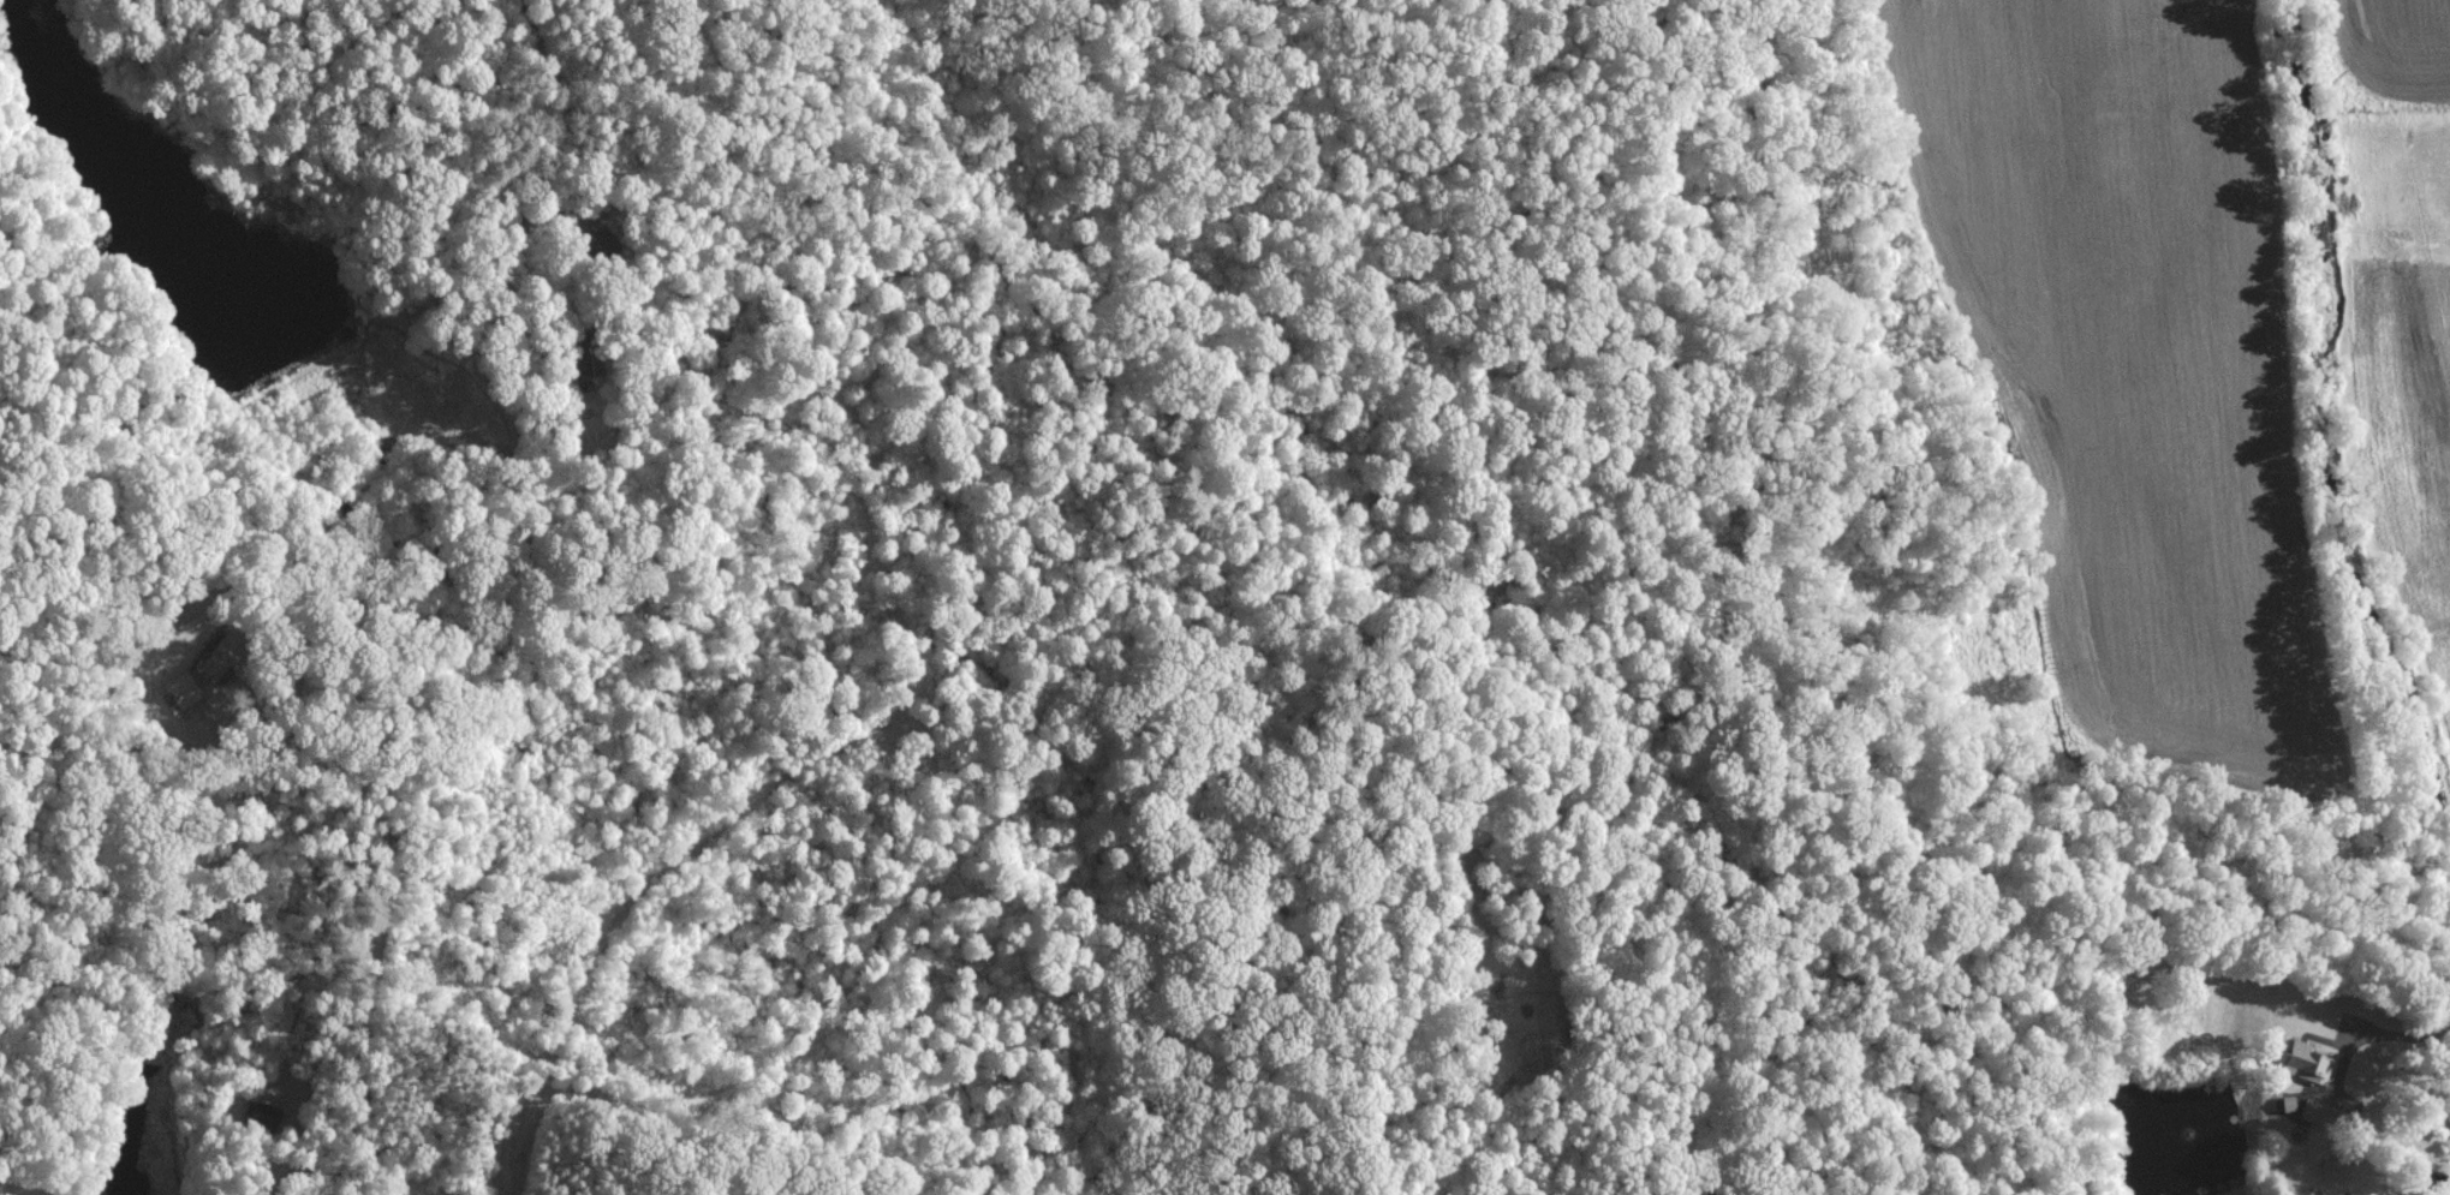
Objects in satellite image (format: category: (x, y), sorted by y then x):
road: (549, 92)
building: (582, 359)
building: (219, 655)
building: (183, 689)
road: (359, 790)
road: (2449, 847)
road: (2438, 986)
building: (2308, 1059)
building: (2318, 1112)
building: (261, 1115)
building: (2337, 1166)

